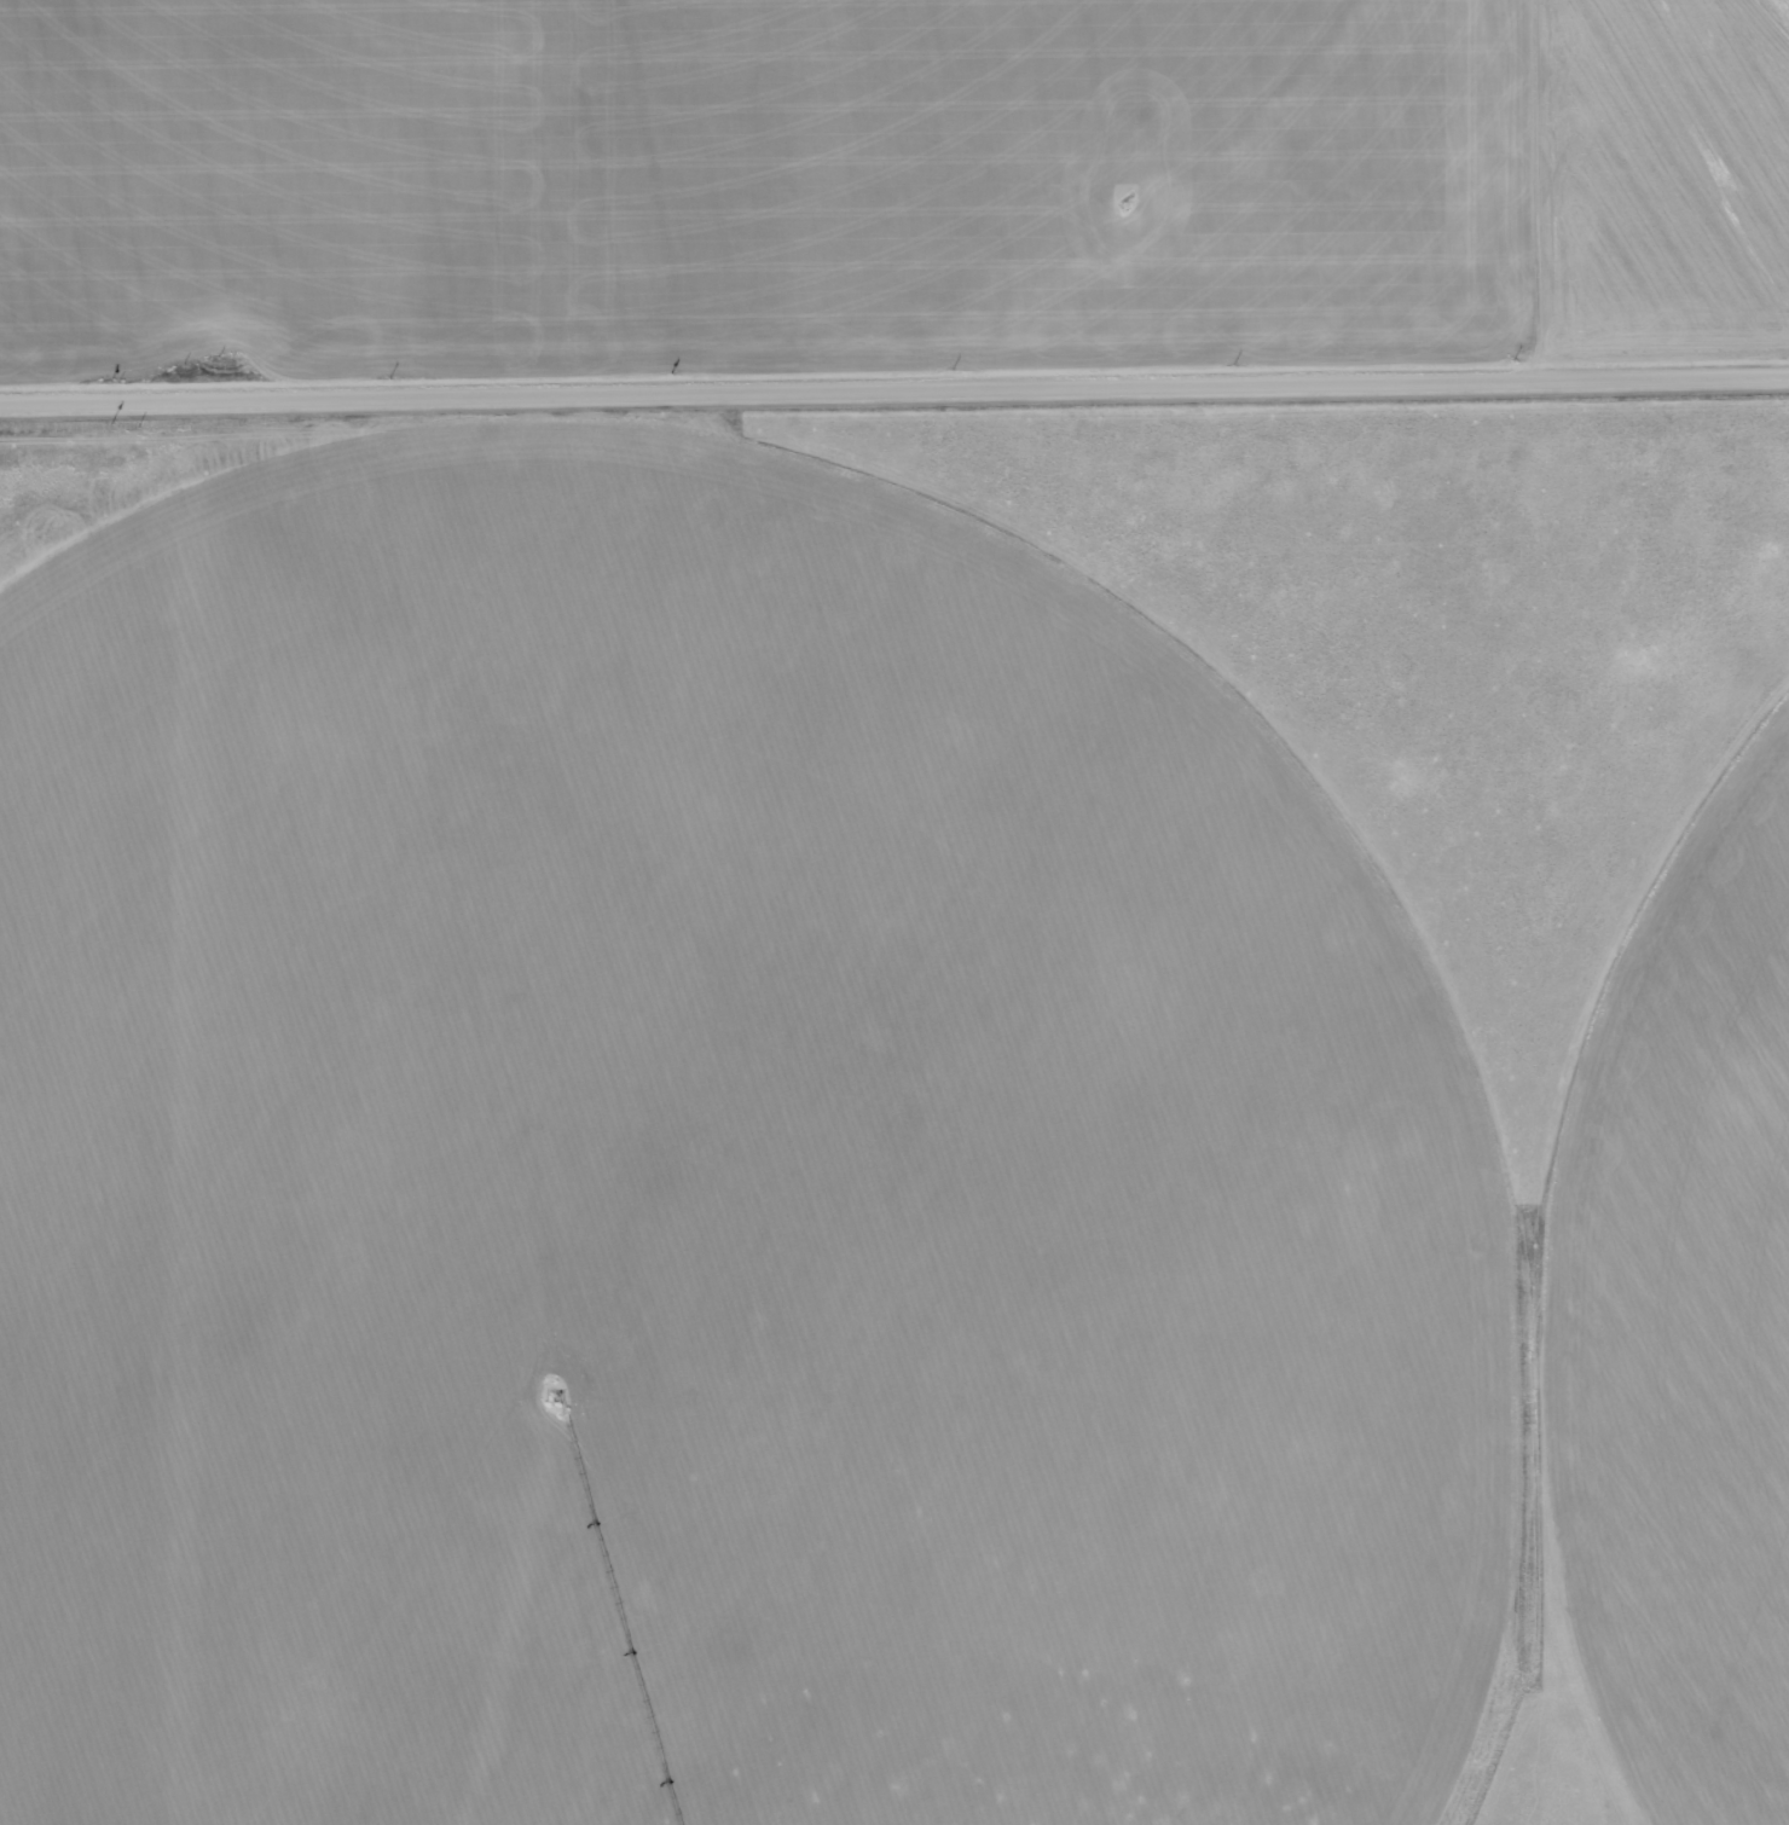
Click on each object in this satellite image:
road: (894, 386)

